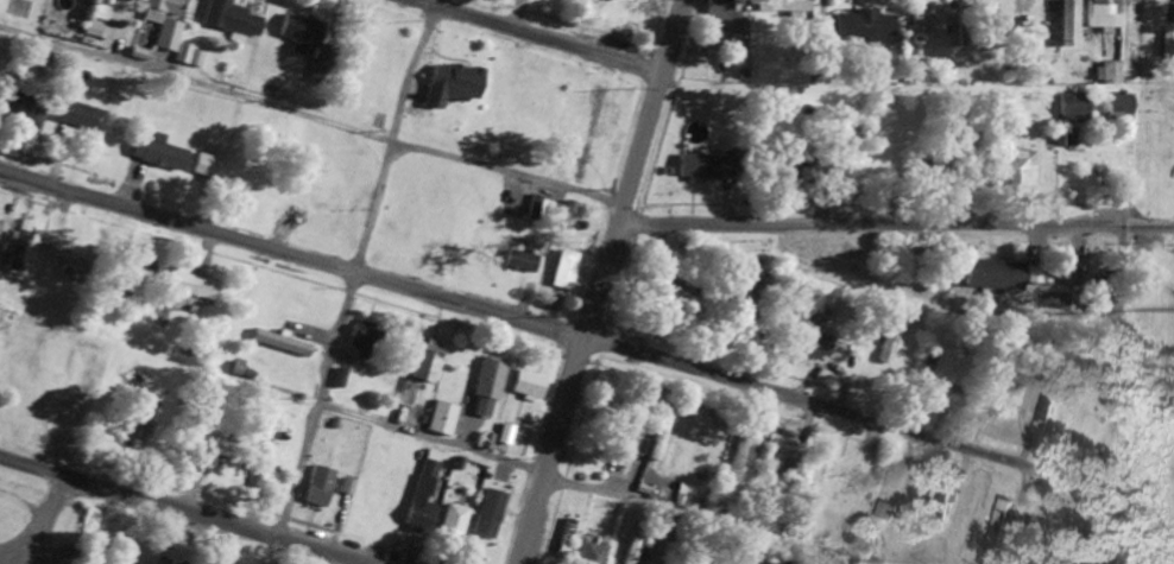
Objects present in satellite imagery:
building: (784, 13)
building: (636, 15)
building: (1094, 15)
building: (234, 18)
building: (166, 19)
building: (722, 19)
building: (915, 21)
building: (1063, 24)
building: (860, 26)
road: (670, 36)
road: (542, 37)
building: (1166, 44)
building: (315, 49)
building: (417, 85)
building: (1113, 108)
building: (25, 112)
building: (82, 116)
building: (560, 119)
building: (601, 119)
road: (310, 122)
building: (491, 129)
building: (851, 129)
building: (961, 141)
building: (164, 152)
building: (207, 165)
building: (1016, 165)
building: (695, 166)
building: (799, 167)
building: (525, 199)
road: (623, 203)
road: (895, 222)
building: (17, 249)
building: (519, 262)
building: (67, 264)
building: (560, 271)
building: (991, 275)
road: (352, 280)
building: (195, 286)
building: (751, 297)
building: (1096, 304)
road: (536, 322)
building: (888, 336)
building: (365, 338)
building: (282, 344)
building: (808, 347)
building: (428, 360)
building: (928, 367)
building: (954, 374)
building: (484, 381)
building: (524, 385)
building: (1042, 410)
building: (444, 419)
building: (655, 437)
road: (553, 450)
building: (734, 462)
building: (263, 464)
building: (841, 479)
road: (554, 486)
building: (321, 487)
road: (188, 508)
building: (386, 509)
building: (884, 511)
building: (419, 517)
building: (454, 524)
building: (997, 525)
building: (566, 539)
building: (95, 545)
building: (593, 555)
building: (771, 558)

